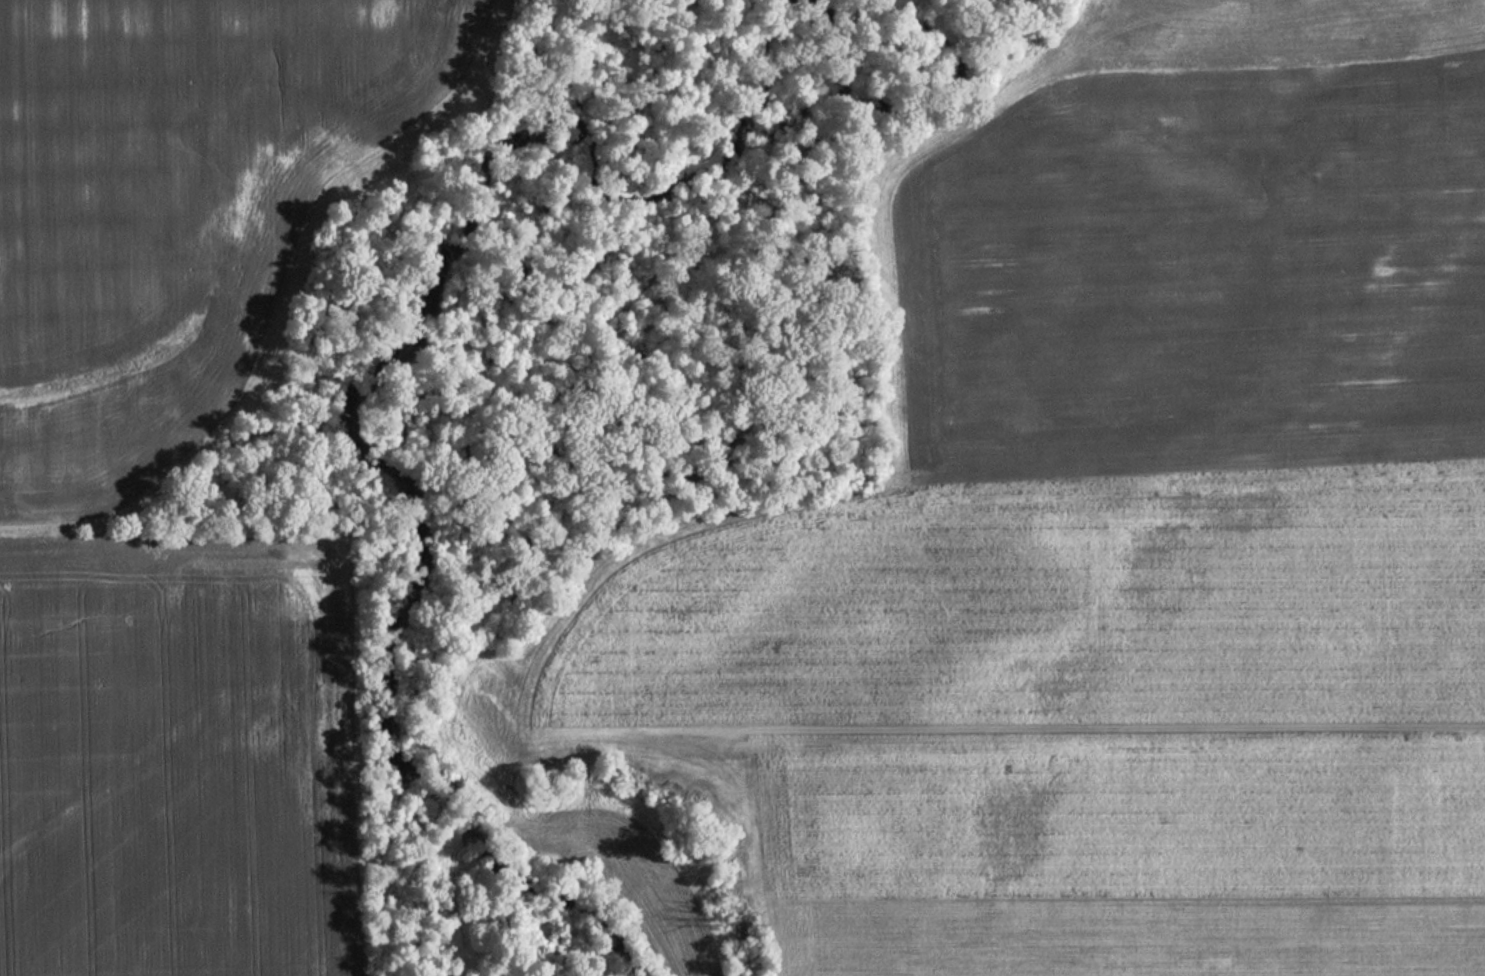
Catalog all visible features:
crop: (169, 210)
crop: (1199, 271)
crop: (1075, 713)
crop: (171, 755)

